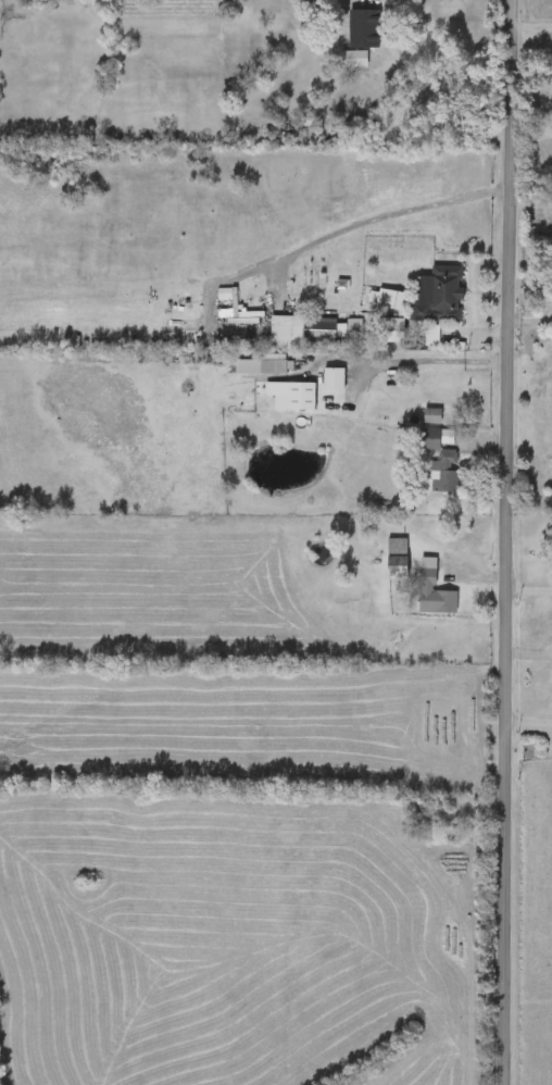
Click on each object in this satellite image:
building: (363, 27)
road: (532, 28)
road: (381, 216)
building: (443, 298)
building: (397, 302)
building: (355, 331)
building: (392, 332)
road: (415, 359)
building: (275, 374)
building: (335, 381)
building: (303, 399)
building: (432, 415)
building: (431, 439)
building: (446, 472)
road: (509, 542)
building: (398, 557)
road: (530, 589)
building: (434, 590)
road: (529, 721)

